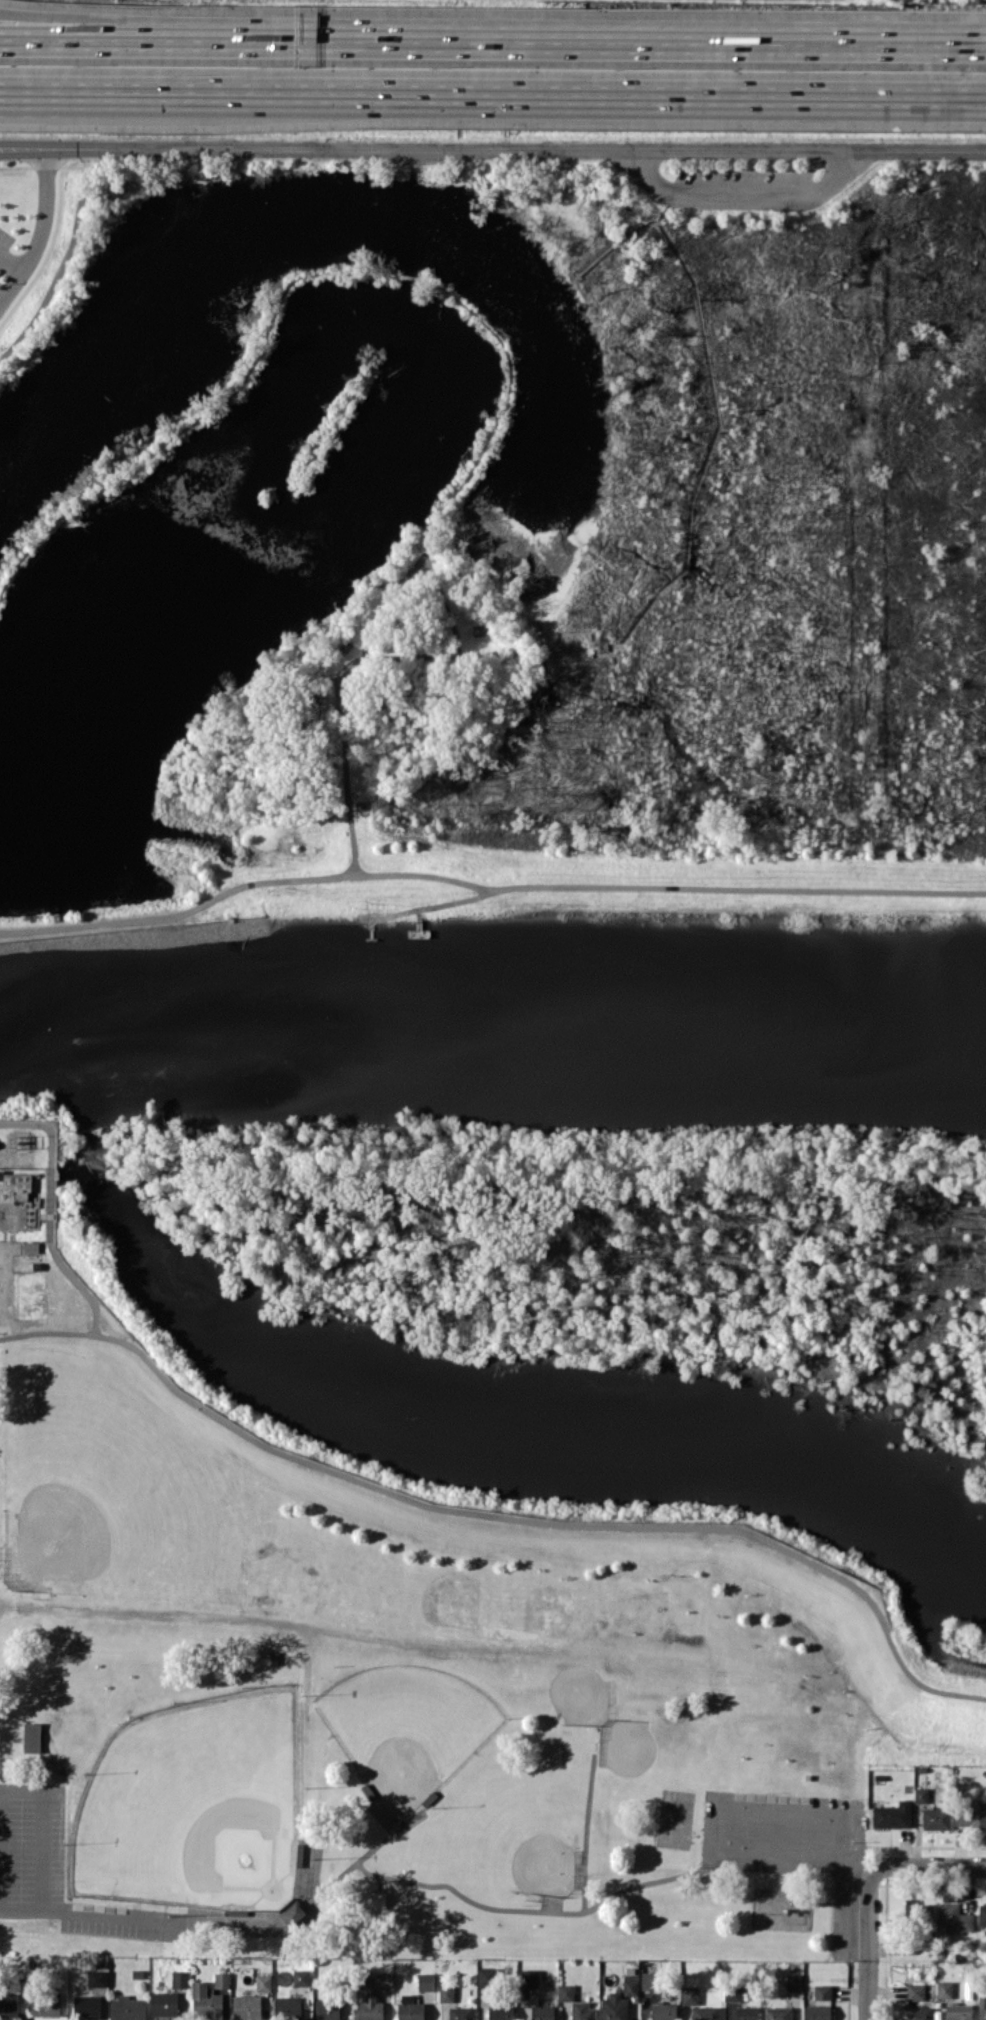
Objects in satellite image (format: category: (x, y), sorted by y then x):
road: (119, 17)
road: (119, 37)
road: (612, 37)
road: (28, 89)
road: (136, 90)
road: (600, 95)
road: (23, 148)
road: (516, 148)
parking lot: (738, 187)
road: (742, 196)
road: (670, 200)
road: (663, 212)
road: (40, 227)
road: (10, 262)
road: (62, 262)
road: (575, 273)
road: (408, 275)
road: (202, 415)
road: (480, 453)
road: (704, 457)
park: (494, 545)
road: (383, 601)
building: (478, 629)
building: (345, 646)
road: (336, 677)
building: (360, 803)
road: (488, 886)
road: (433, 904)
road: (418, 910)
pier: (419, 922)
pier: (371, 929)
pier: (419, 932)
pier: (370, 938)
river: (492, 1019)
building: (15, 1187)
building: (31, 1247)
park: (109, 1488)
road: (505, 1514)
road: (432, 1645)
building: (270, 1658)
road: (306, 1670)
park: (380, 1676)
park: (575, 1691)
park: (405, 1727)
building: (32, 1737)
park: (630, 1750)
building: (920, 1797)
park: (194, 1804)
building: (892, 1815)
building: (973, 1815)
park: (675, 1817)
building: (936, 1818)
parking lot: (791, 1843)
park: (526, 1845)
road: (39, 1846)
road: (800, 1849)
road: (928, 1865)
parking lot: (60, 1872)
building: (373, 1899)
building: (917, 1910)
building: (982, 1914)
road: (107, 1915)
building: (953, 1918)
road: (866, 1945)
building: (487, 1976)
building: (301, 1977)
building: (529, 1977)
building: (97, 1978)
building: (180, 1979)
building: (221, 1979)
building: (384, 1980)
building: (648, 1980)
building: (425, 1981)
building: (263, 1982)
building: (793, 1982)
building: (631, 1985)
building: (944, 1989)
building: (566, 1991)
building: (915, 1991)
building: (732, 1992)
building: (822, 1992)
building: (446, 1993)
building: (690, 1994)
building: (205, 2001)
building: (369, 2001)
building: (8, 2002)
building: (164, 2003)
building: (44, 2006)
building: (87, 2006)
building: (247, 2007)
building: (287, 2007)
building: (614, 2007)
building: (982, 2007)
building: (127, 2008)
building: (409, 2008)
building: (327, 2009)
building: (582, 2011)
building: (663, 2011)
building: (542, 2012)
building: (818, 2012)
building: (959, 2012)
building: (460, 2013)
building: (499, 2013)
building: (704, 2013)
building: (747, 2013)
building: (778, 2013)
building: (916, 2013)

